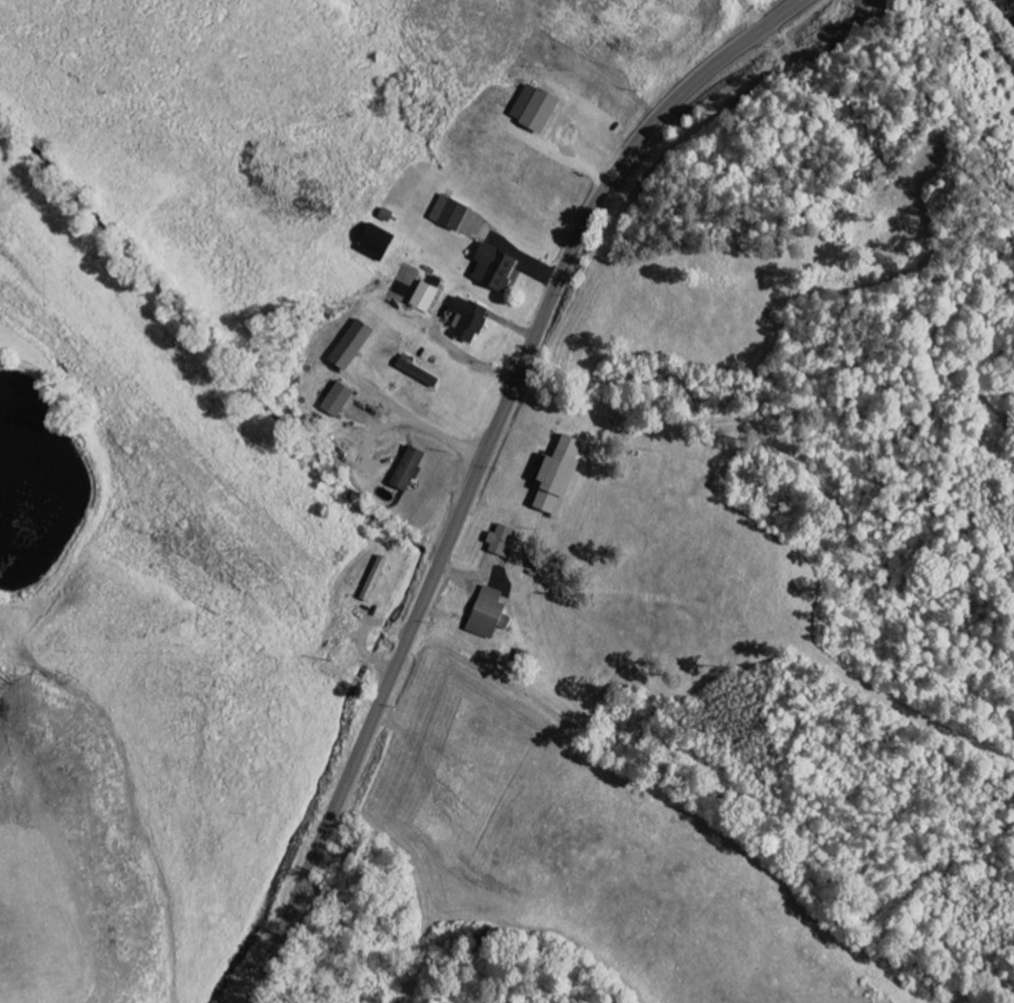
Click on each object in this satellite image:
building: (538, 109)
building: (452, 214)
building: (379, 244)
building: (497, 269)
building: (427, 298)
building: (471, 321)
building: (354, 346)
building: (418, 372)
building: (340, 401)
road: (480, 467)
building: (411, 470)
building: (561, 478)
building: (503, 542)
building: (491, 616)
road: (139, 883)

